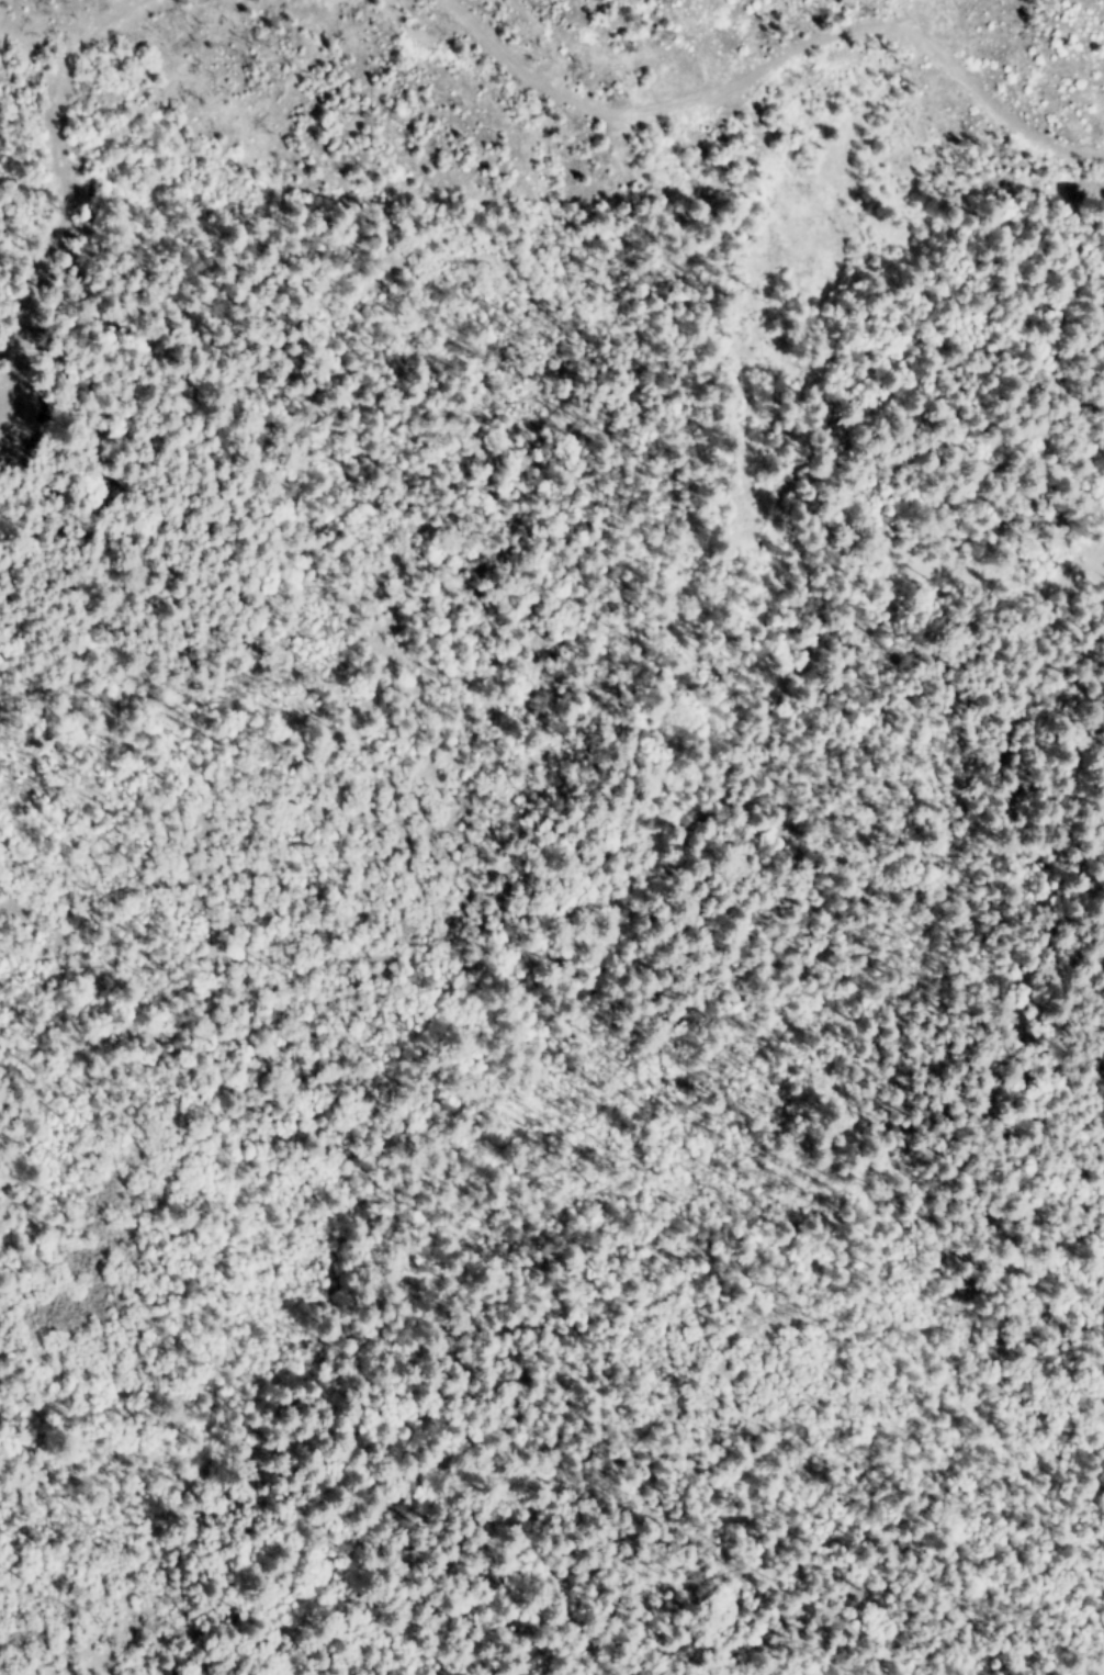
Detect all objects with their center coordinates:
road: (552, 116)

